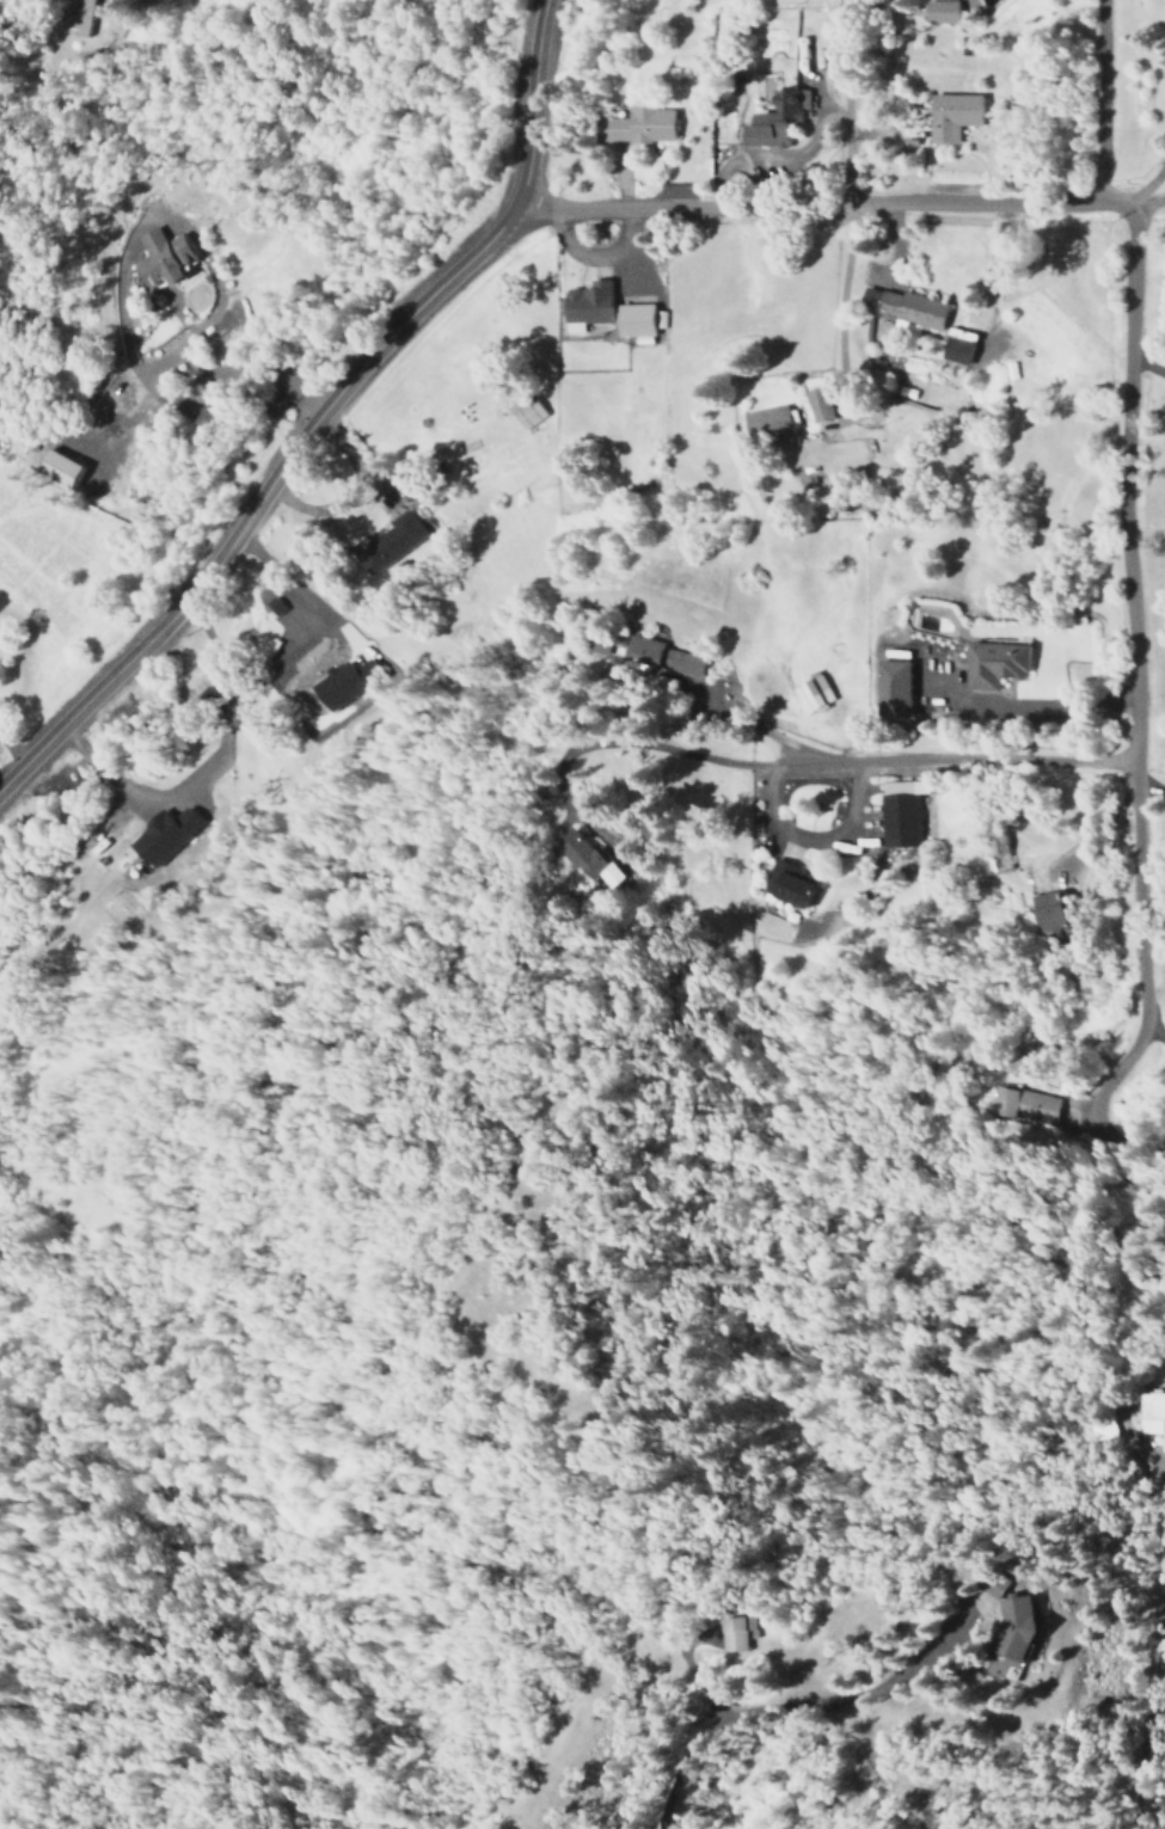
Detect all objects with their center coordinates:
building: (937, 11)
building: (78, 18)
road: (848, 99)
building: (949, 115)
building: (772, 119)
building: (636, 124)
road: (1151, 188)
road: (824, 198)
road: (1148, 202)
building: (157, 257)
building: (583, 305)
building: (901, 308)
building: (633, 319)
building: (955, 348)
road: (1146, 368)
building: (815, 403)
road: (320, 410)
building: (525, 413)
building: (769, 422)
building: (59, 468)
road: (1127, 510)
building: (390, 541)
building: (894, 655)
building: (991, 663)
building: (339, 682)
building: (889, 689)
building: (809, 693)
road: (790, 766)
building: (897, 812)
building: (159, 835)
building: (995, 849)
building: (576, 851)
building: (783, 883)
building: (1044, 912)
road: (1155, 988)
road: (1145, 992)
road: (1153, 1031)
building: (1023, 1105)
building: (1148, 1418)
building: (988, 1629)
building: (710, 1635)
road: (793, 1707)

